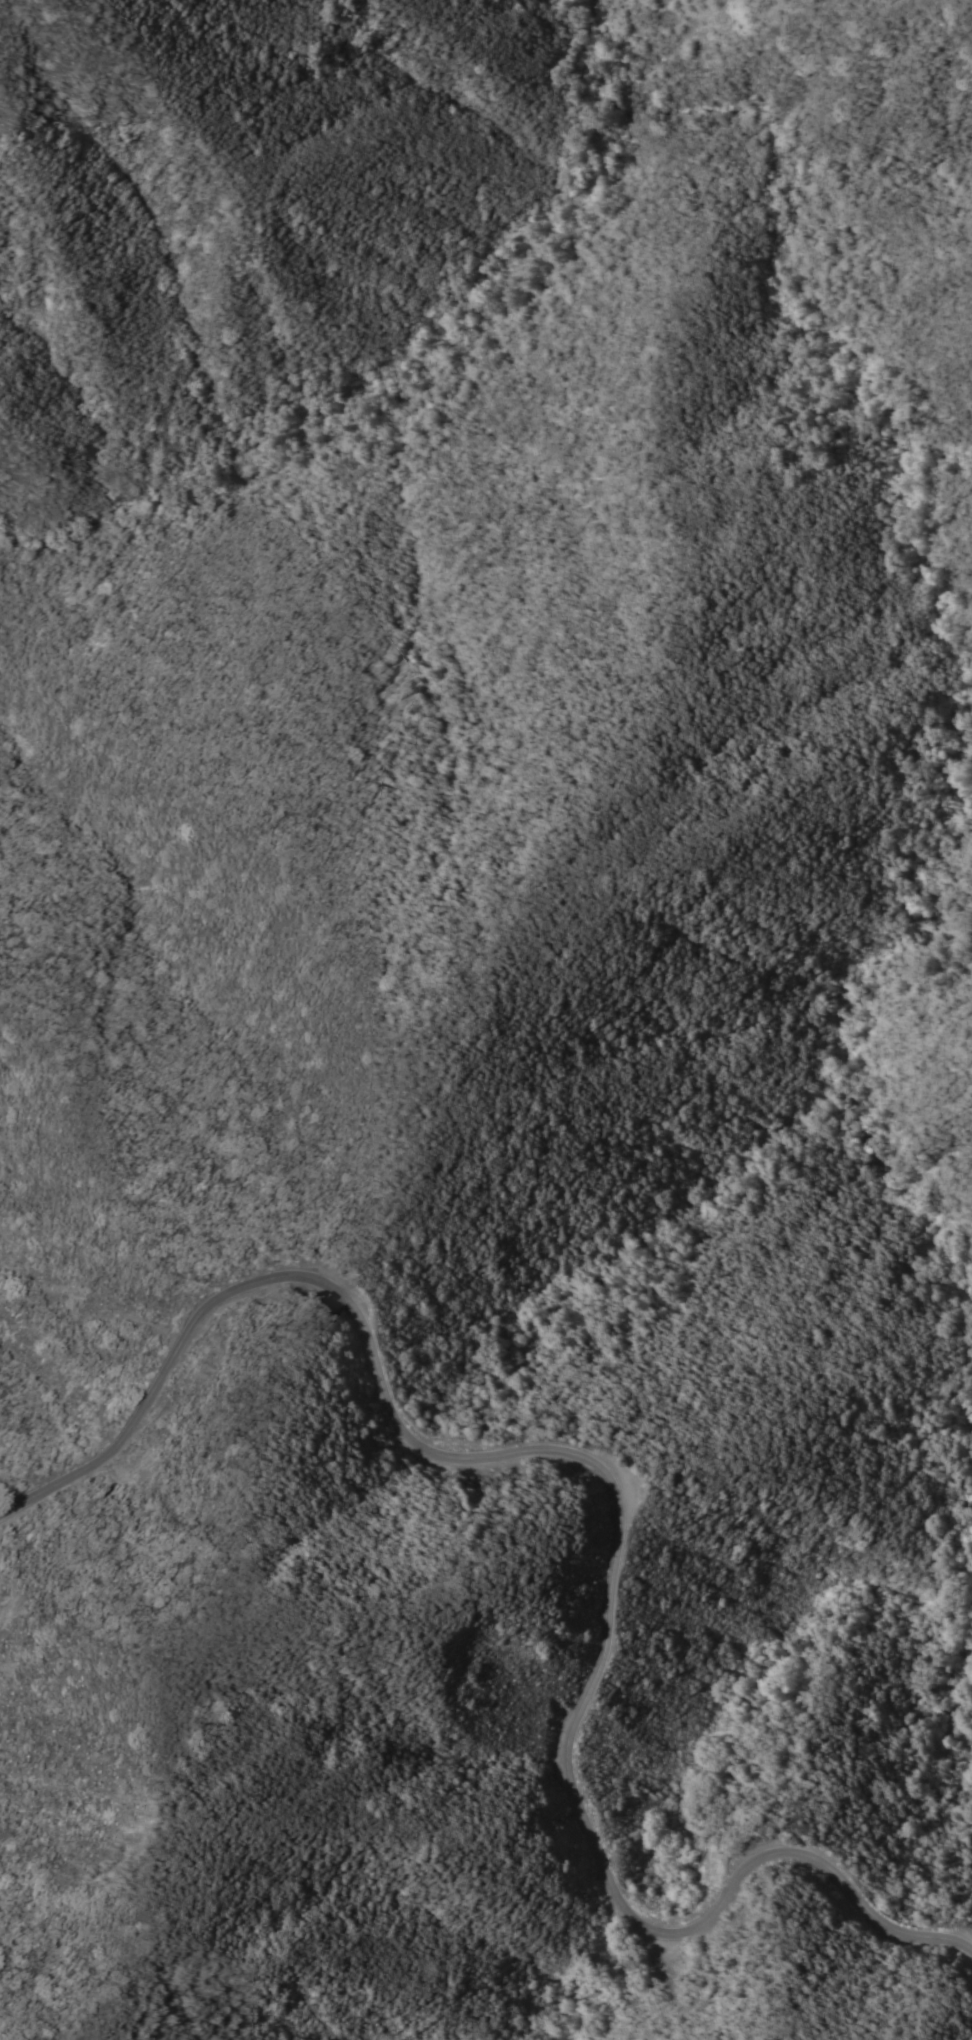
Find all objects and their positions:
parking lot: (627, 1486)
road: (619, 1500)

